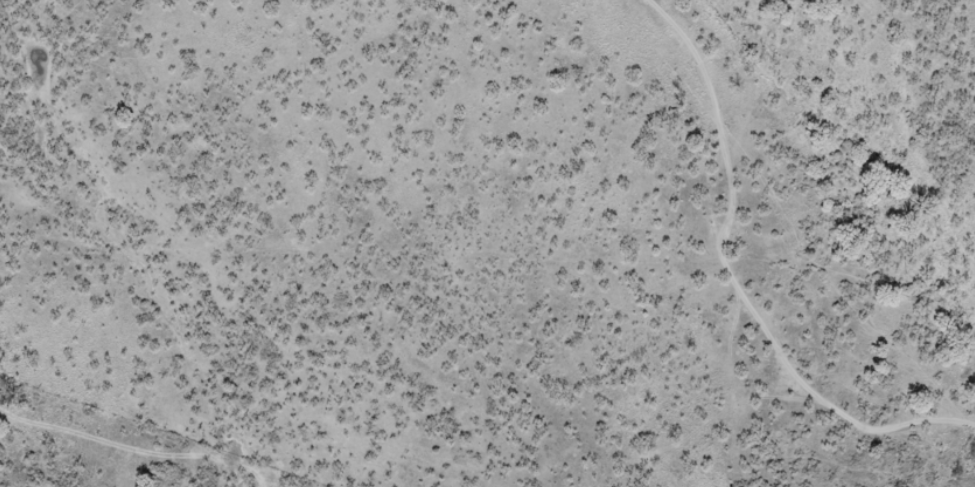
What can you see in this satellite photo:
road: (707, 314)

